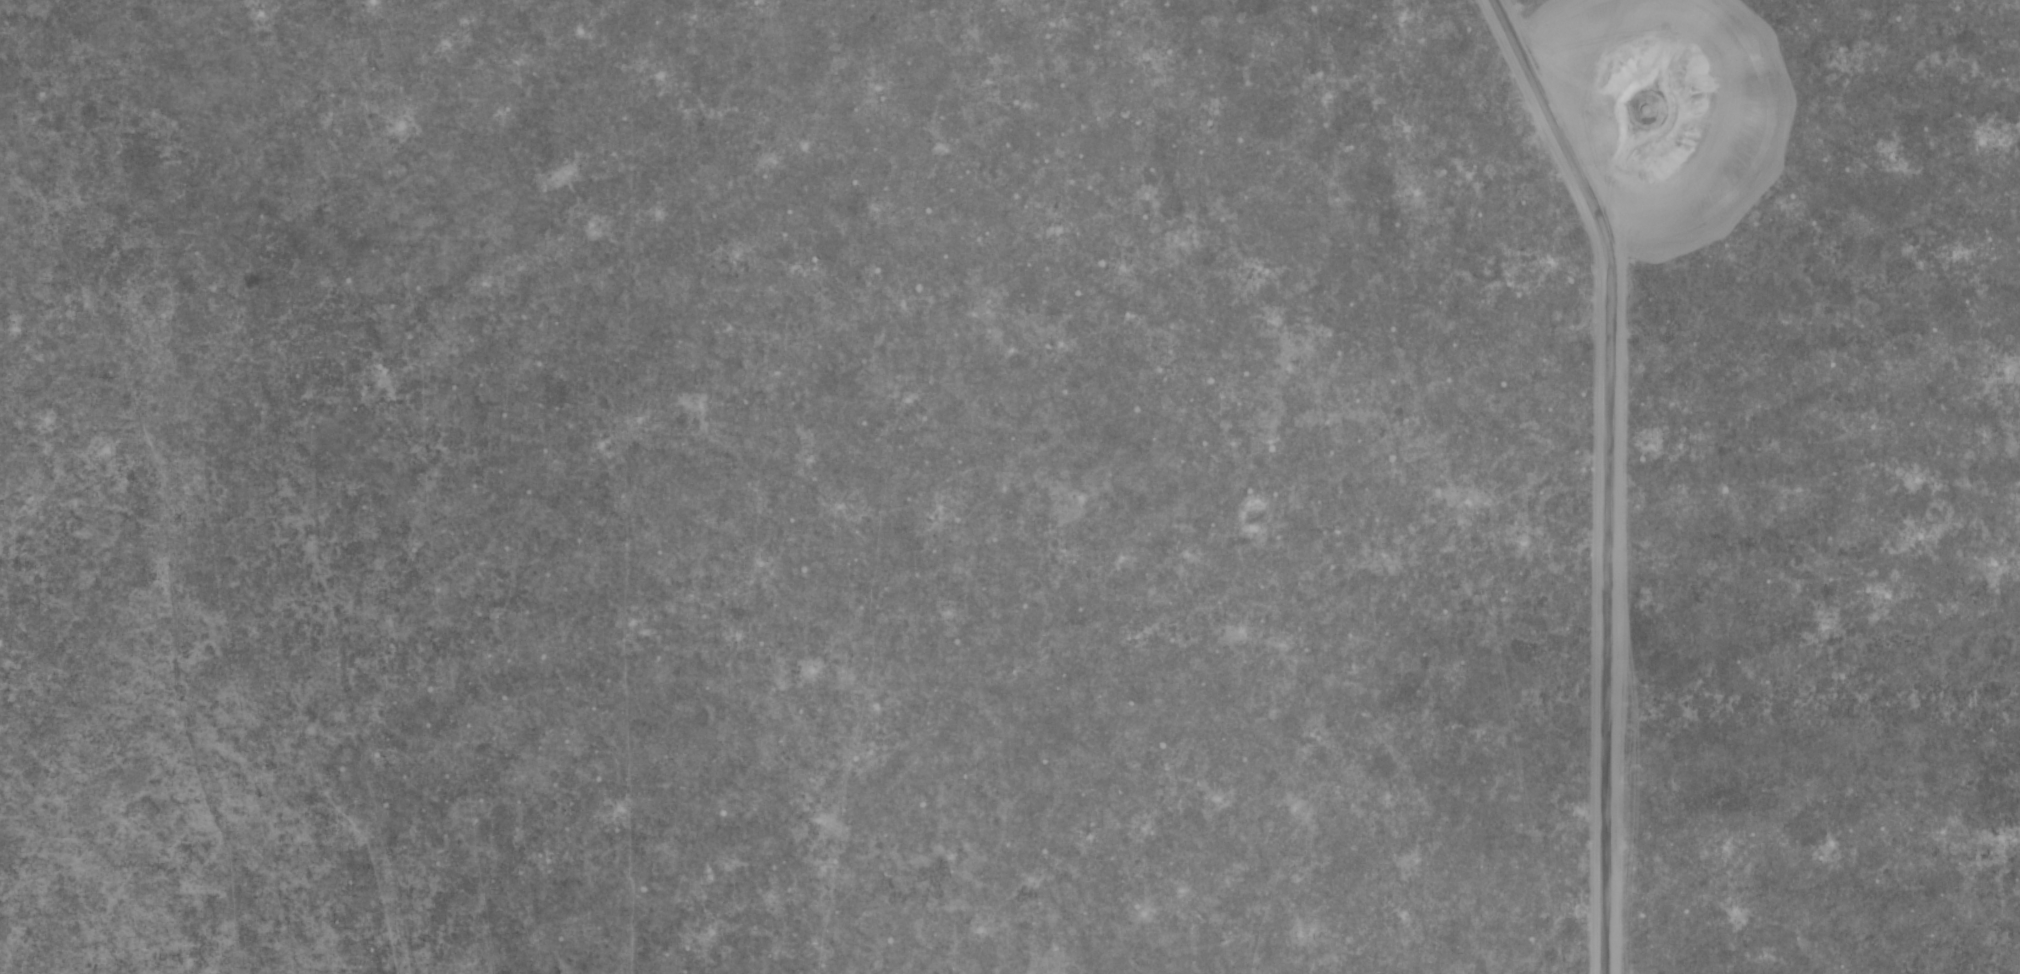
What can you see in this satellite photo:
wind turbine: (1645, 93)

